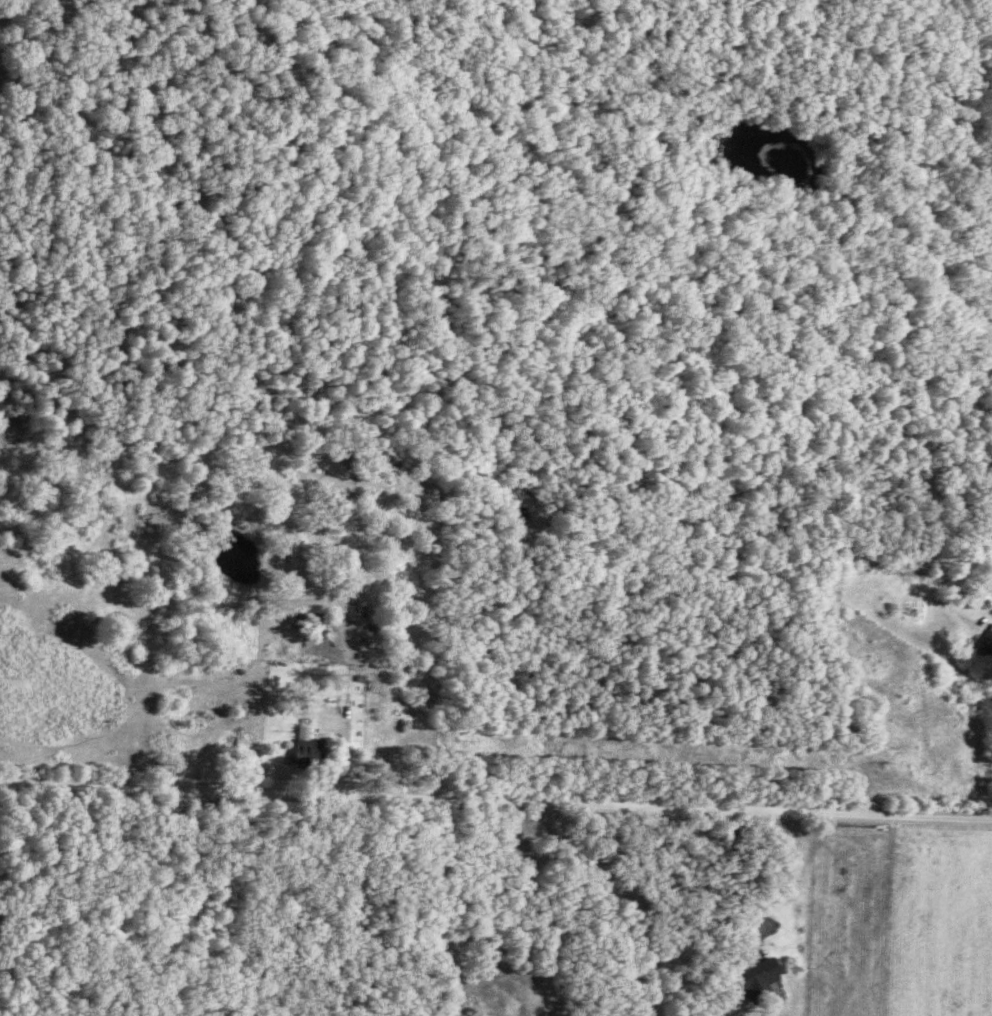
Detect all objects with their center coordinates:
building: (988, 643)
building: (304, 733)
road: (496, 802)
building: (755, 974)

